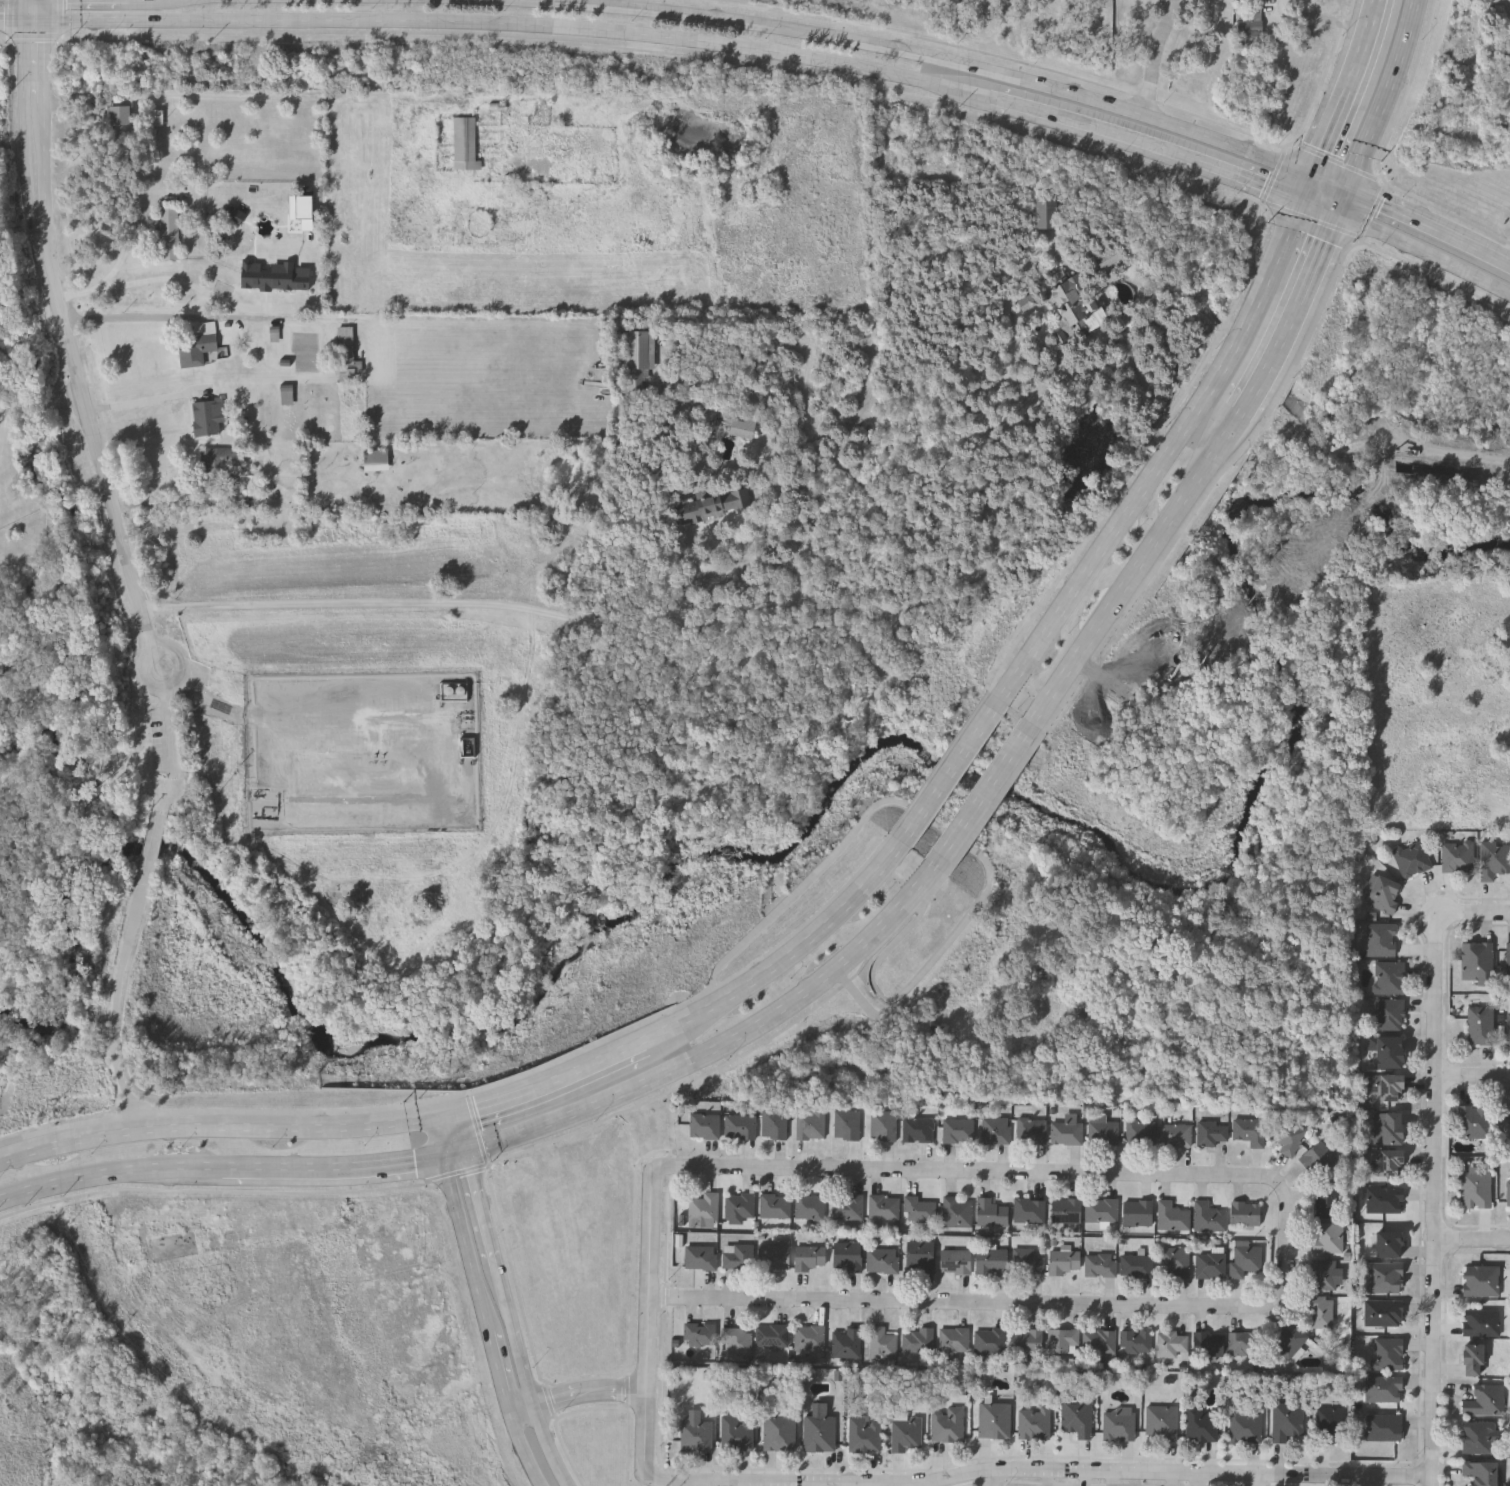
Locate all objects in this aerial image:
road: (38, 10)
building: (1251, 17)
road: (1319, 17)
road: (11, 18)
road: (62, 18)
road: (19, 20)
traffic signals: (38, 20)
road: (516, 27)
road: (36, 37)
road: (1158, 56)
road: (933, 57)
road: (1348, 89)
road: (252, 97)
road: (1385, 97)
building: (124, 115)
building: (158, 116)
building: (464, 143)
road: (1148, 143)
road: (1291, 144)
road: (1338, 161)
road: (1275, 174)
traffic signals: (1315, 178)
road: (1385, 179)
road: (1331, 185)
road: (1310, 189)
traffic signals: (1348, 192)
traffic signals: (1305, 201)
road: (1343, 203)
road: (1321, 207)
road: (1375, 210)
building: (303, 211)
building: (1045, 212)
traffic signals: (1338, 214)
building: (237, 216)
road: (1313, 219)
road: (1429, 228)
building: (169, 231)
road: (1424, 251)
road: (121, 254)
building: (1105, 258)
building: (276, 277)
road: (168, 279)
building: (1029, 303)
building: (1074, 305)
road: (1291, 316)
road: (139, 318)
building: (199, 344)
road: (73, 352)
building: (346, 355)
building: (635, 358)
building: (288, 395)
road: (140, 402)
road: (42, 408)
building: (207, 417)
building: (733, 424)
building: (375, 456)
road: (1163, 456)
building: (219, 462)
building: (711, 503)
road: (175, 504)
road: (1134, 574)
road: (689, 615)
road: (167, 722)
parking lot: (168, 727)
road: (141, 757)
road: (957, 765)
road: (164, 790)
road: (97, 791)
road: (987, 795)
park: (57, 804)
road: (41, 817)
road: (151, 850)
building: (1457, 855)
building: (1412, 857)
building: (1494, 858)
building: (1382, 893)
road: (1477, 918)
building: (1380, 938)
road: (793, 952)
building: (1508, 960)
building: (1477, 961)
building: (1389, 976)
road: (116, 1011)
building: (1389, 1012)
building: (1481, 1024)
building: (1509, 1028)
road: (731, 1038)
building: (1387, 1050)
road: (1475, 1078)
road: (553, 1080)
building: (1386, 1086)
road: (305, 1113)
traffic signals: (459, 1113)
road: (445, 1115)
traffic signals: (431, 1118)
building: (1475, 1120)
building: (774, 1123)
building: (810, 1123)
building: (846, 1123)
building: (882, 1123)
building: (704, 1125)
building: (740, 1126)
road: (214, 1127)
building: (1387, 1127)
building: (917, 1128)
road: (479, 1129)
building: (958, 1129)
building: (995, 1129)
building: (1031, 1130)
building: (1249, 1130)
road: (465, 1131)
building: (1066, 1132)
building: (1104, 1132)
building: (1140, 1132)
building: (1211, 1132)
building: (1176, 1133)
building: (1287, 1135)
road: (437, 1139)
traffic signals: (471, 1150)
road: (457, 1155)
building: (1321, 1158)
traffic signals: (443, 1160)
building: (1386, 1162)
road: (333, 1167)
road: (110, 1170)
road: (958, 1171)
building: (1476, 1187)
building: (1507, 1192)
building: (1384, 1199)
building: (1327, 1201)
road: (1440, 1203)
building: (739, 1204)
building: (774, 1205)
building: (703, 1206)
building: (809, 1206)
building: (847, 1206)
building: (883, 1206)
building: (919, 1208)
building: (1029, 1209)
building: (1102, 1209)
building: (1066, 1210)
building: (957, 1211)
building: (991, 1211)
building: (1138, 1212)
building: (1245, 1213)
building: (1172, 1215)
building: (1209, 1217)
building: (1328, 1237)
road: (1475, 1238)
road: (1288, 1242)
building: (1388, 1243)
building: (771, 1254)
building: (846, 1255)
building: (919, 1255)
building: (700, 1256)
building: (737, 1256)
building: (808, 1257)
building: (1245, 1258)
building: (882, 1259)
building: (990, 1260)
building: (954, 1261)
building: (1027, 1261)
building: (1064, 1261)
building: (1175, 1261)
building: (1101, 1264)
building: (1211, 1264)
building: (1137, 1265)
building: (1323, 1274)
building: (1384, 1277)
building: (1480, 1280)
road: (954, 1301)
building: (1320, 1311)
building: (1383, 1312)
road: (525, 1317)
road: (512, 1320)
road: (655, 1322)
building: (1481, 1322)
road: (486, 1325)
building: (699, 1333)
building: (772, 1335)
building: (809, 1338)
building: (918, 1339)
building: (954, 1339)
building: (737, 1340)
building: (990, 1340)
building: (1028, 1340)
building: (1063, 1340)
building: (1100, 1340)
building: (1136, 1340)
building: (1290, 1340)
building: (846, 1341)
building: (882, 1342)
building: (1172, 1342)
building: (1209, 1343)
building: (1242, 1343)
building: (1389, 1353)
building: (1472, 1358)
building: (1383, 1388)
road: (580, 1389)
road: (627, 1391)
building: (1484, 1399)
building: (1077, 1416)
building: (994, 1419)
building: (1162, 1421)
building: (1288, 1421)
building: (1035, 1422)
building: (947, 1423)
building: (1119, 1423)
building: (1202, 1423)
building: (1329, 1424)
building: (1245, 1426)
building: (1383, 1426)
building: (696, 1432)
building: (779, 1432)
building: (819, 1432)
building: (906, 1432)
building: (737, 1433)
building: (863, 1434)
building: (1477, 1436)
road: (629, 1448)
road: (1040, 1471)
building: (1479, 1472)
road: (1001, 1478)
road: (1251, 1478)
road: (645, 1482)
road: (688, 1483)
road: (773, 1484)
road: (882, 1485)

